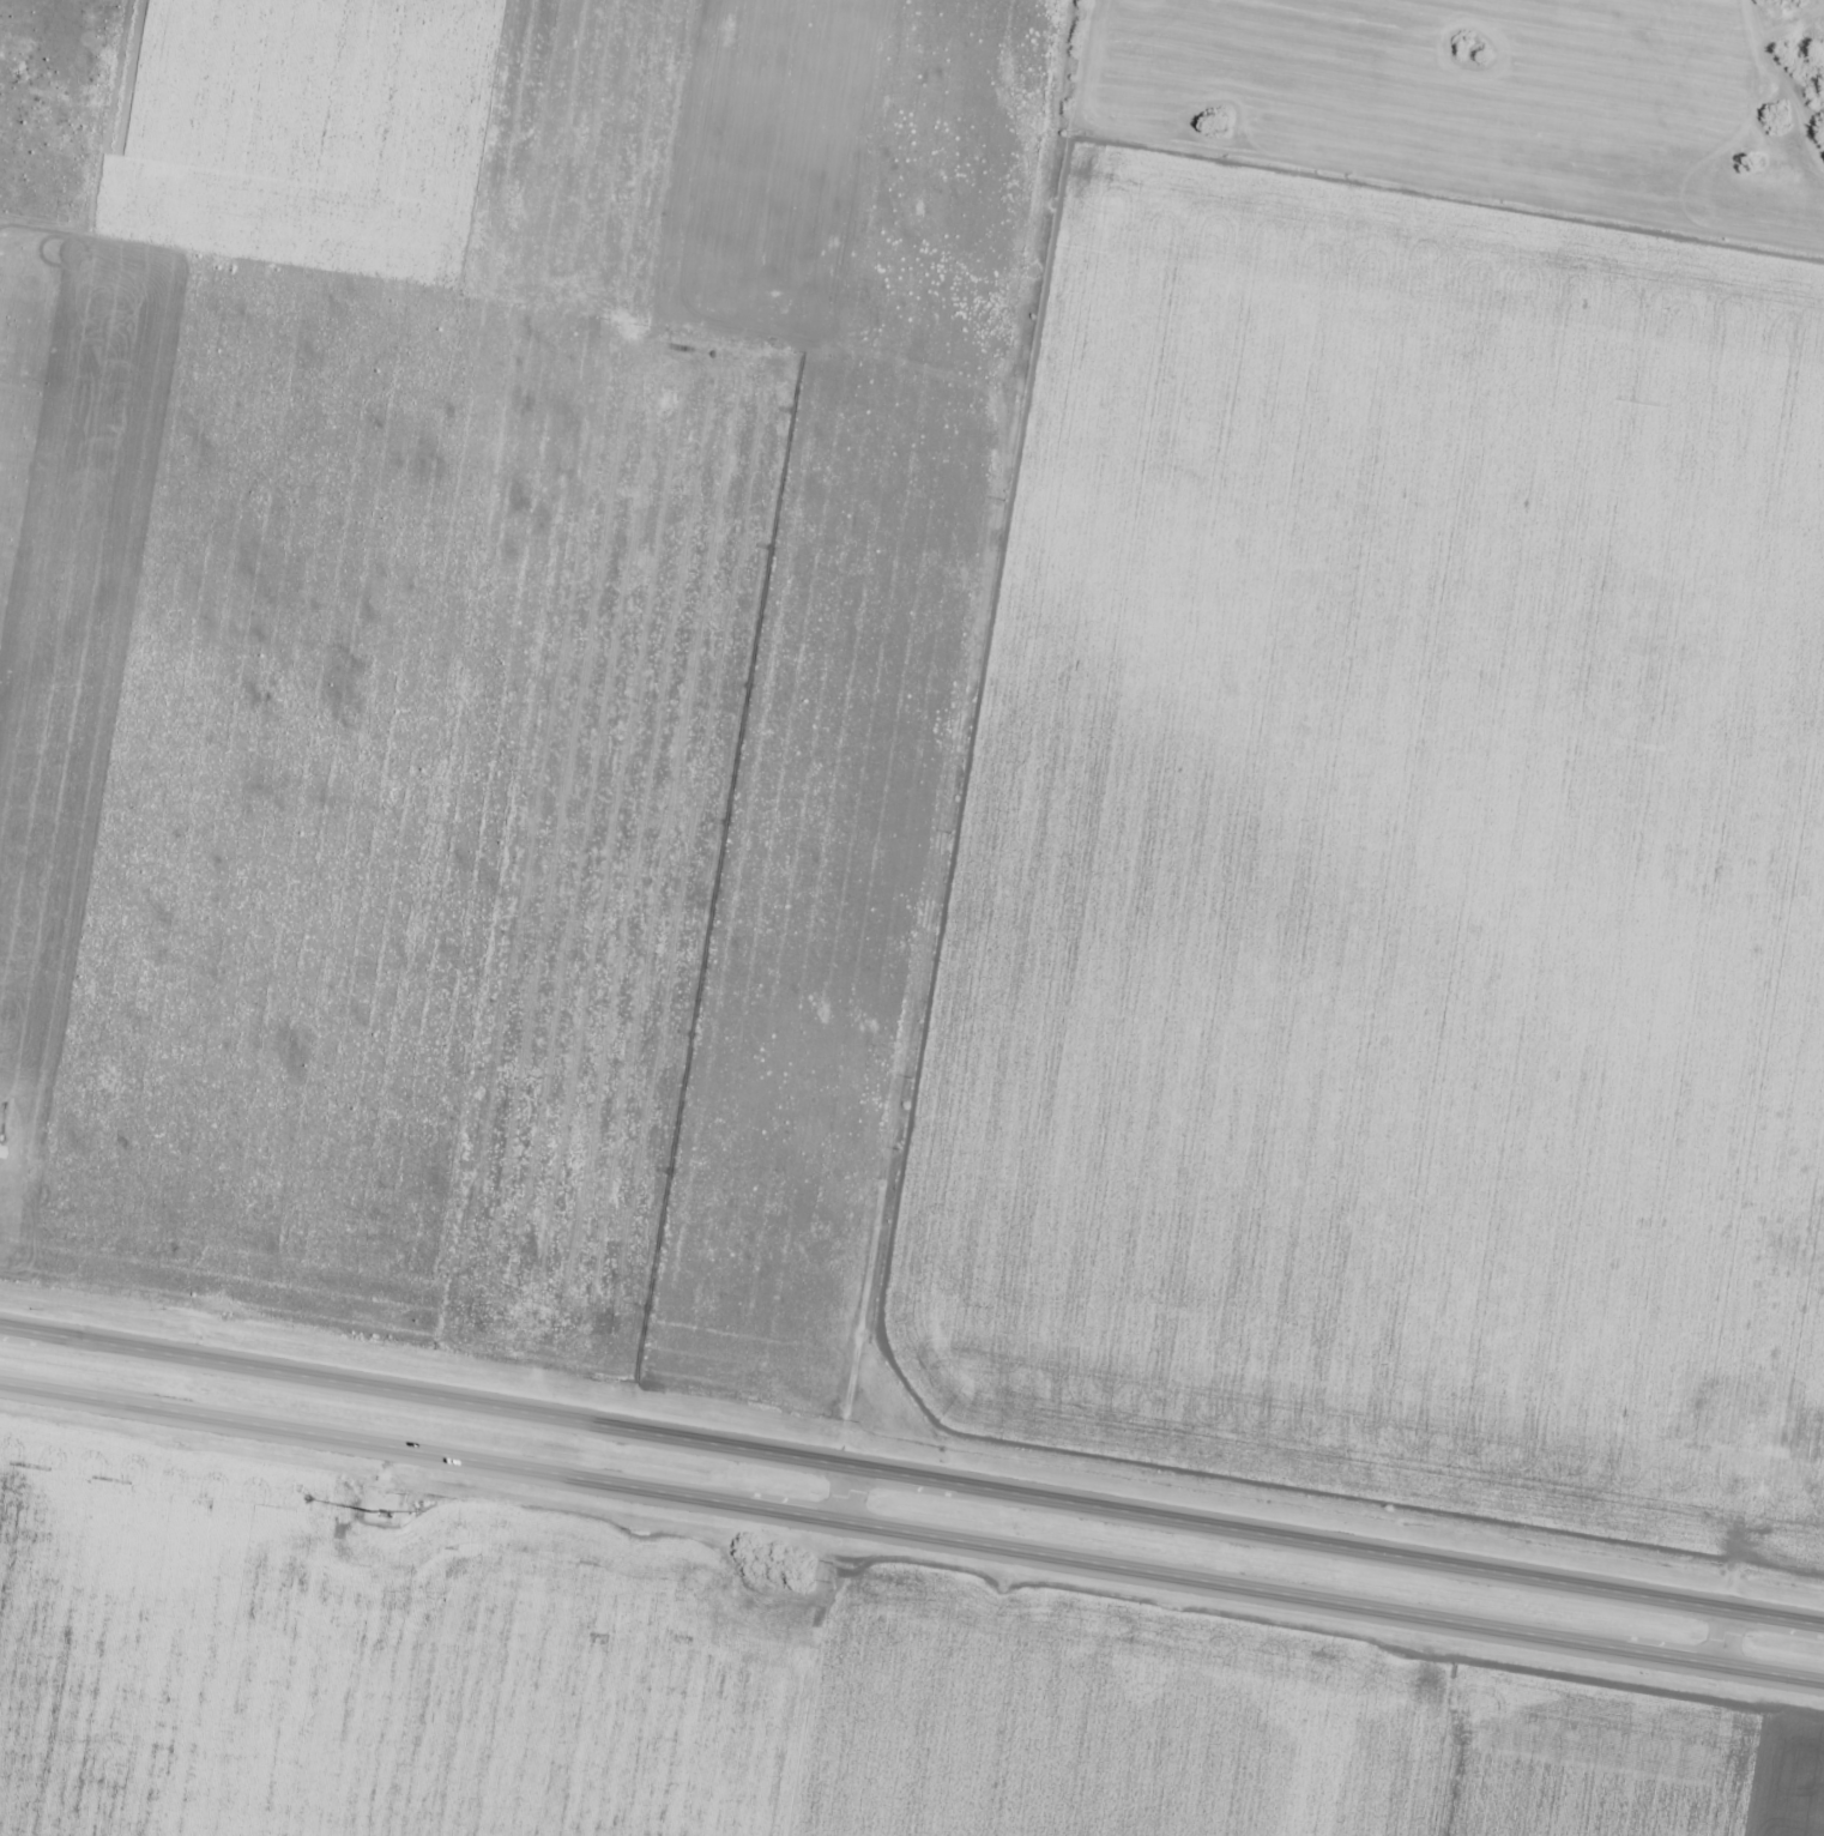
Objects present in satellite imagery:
road: (912, 1474)
road: (845, 1492)
road: (911, 1532)
road: (1721, 1636)

